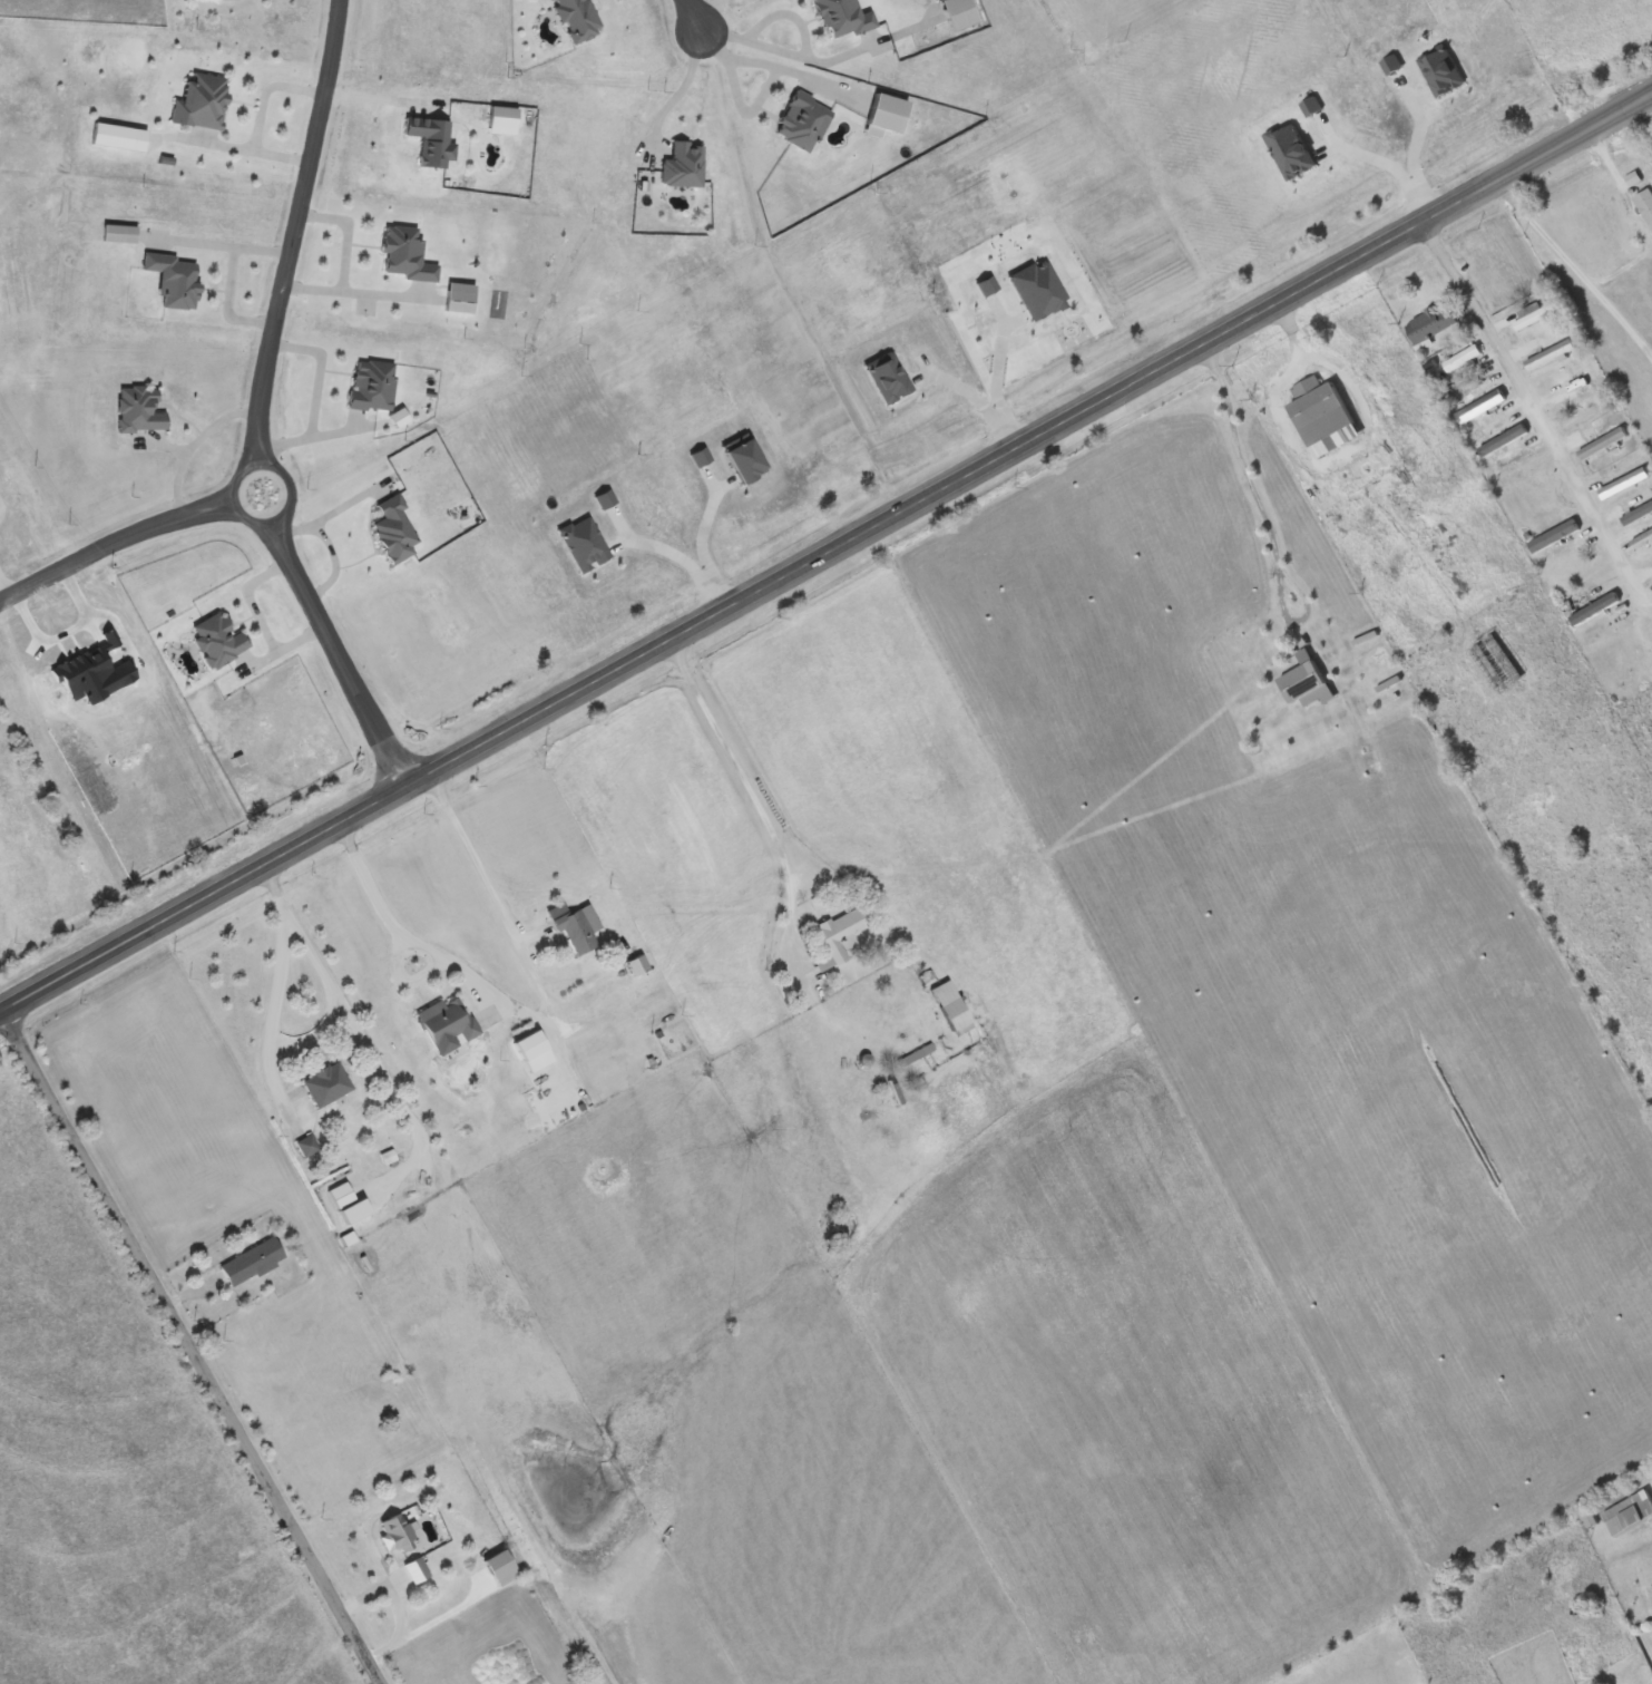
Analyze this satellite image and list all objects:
road: (691, 10)
road: (773, 65)
road: (266, 94)
road: (379, 100)
road: (243, 150)
building: (1645, 204)
road: (294, 233)
building: (405, 255)
road: (1577, 273)
building: (1534, 319)
building: (1430, 324)
building: (1551, 357)
building: (1462, 359)
building: (372, 387)
building: (1573, 399)
road: (1529, 403)
building: (1478, 409)
building: (1320, 411)
building: (1503, 441)
building: (1603, 445)
building: (1625, 483)
road: (292, 498)
building: (1645, 509)
building: (1555, 537)
road: (113, 541)
building: (1643, 542)
road: (825, 554)
building: (1609, 602)
road: (340, 653)
building: (1307, 683)
building: (578, 927)
building: (838, 937)
building: (951, 1009)
building: (447, 1021)
building: (530, 1045)
building: (328, 1084)
building: (307, 1146)
building: (341, 1196)
building: (252, 1263)
road: (190, 1346)
building: (1630, 1513)
building: (399, 1534)
building: (416, 1570)

